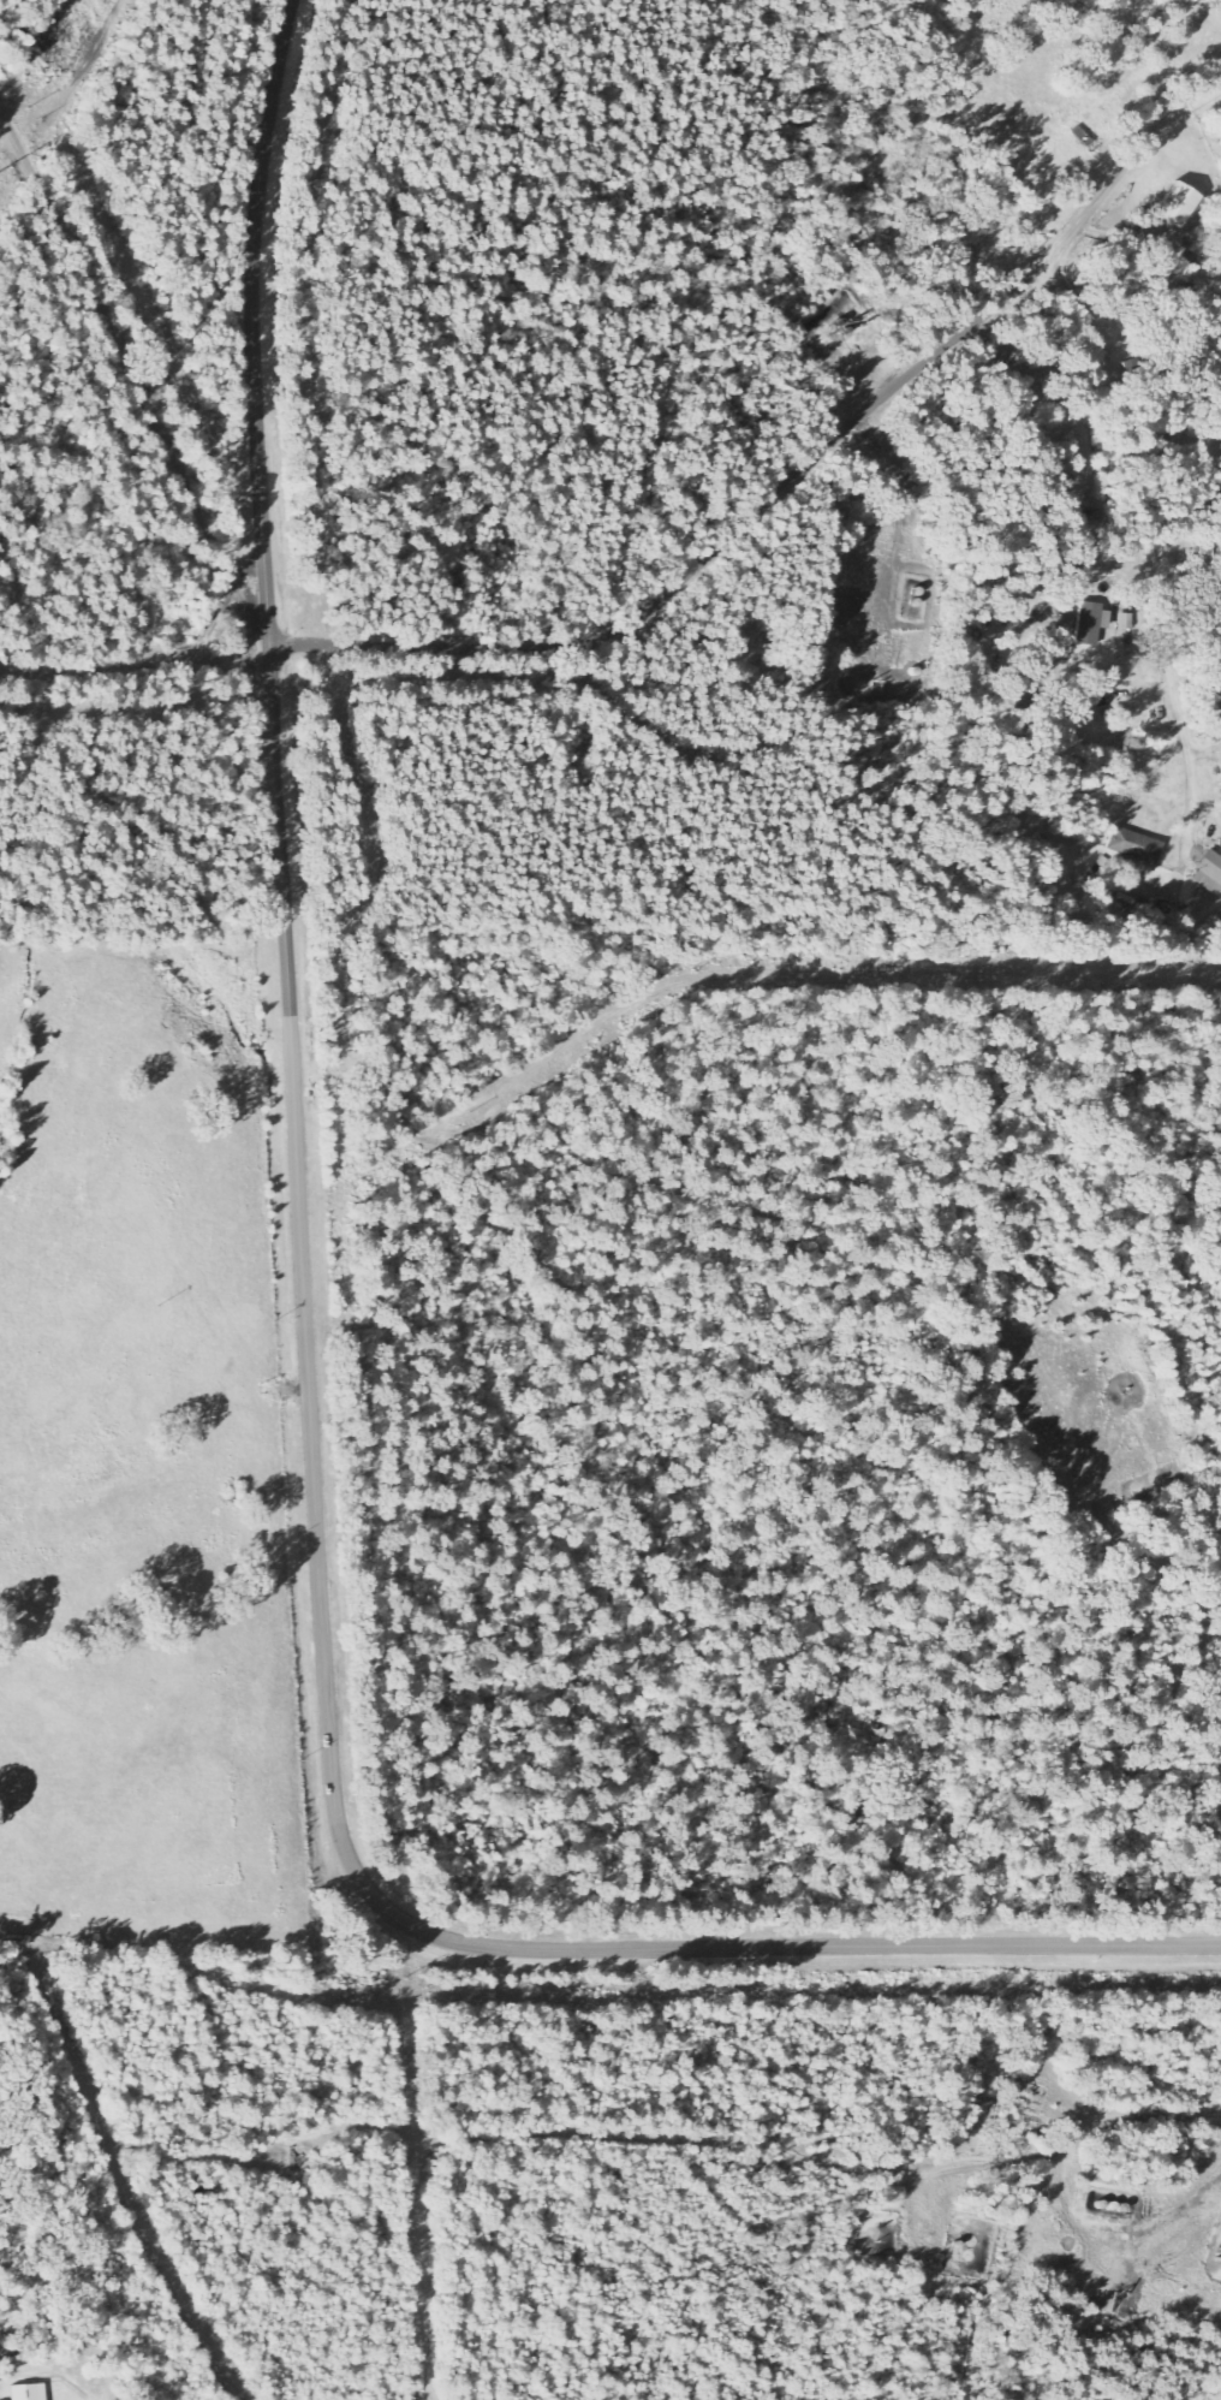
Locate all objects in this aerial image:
power tower: (96, 4)
road: (1199, 83)
building: (1180, 208)
road: (133, 373)
road: (779, 495)
road: (1149, 551)
road: (219, 622)
building: (1092, 624)
road: (137, 664)
building: (1137, 851)
building: (1210, 874)
road: (309, 1382)
road: (755, 2138)
building: (30, 2393)

